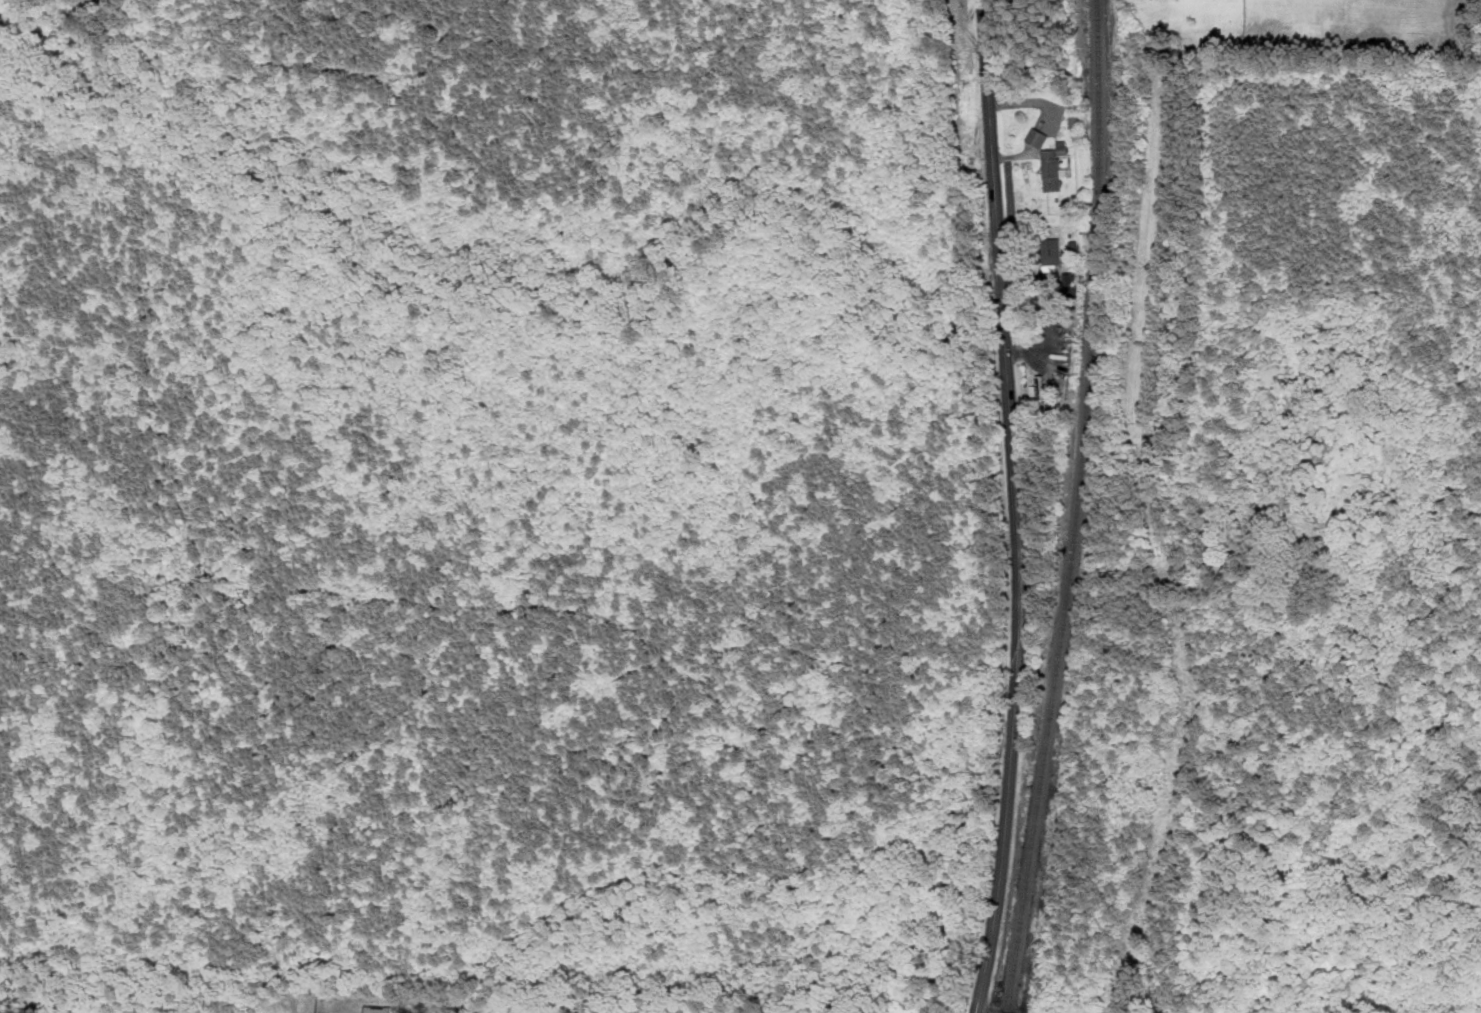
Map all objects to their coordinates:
building: (1039, 137)
building: (1055, 167)
building: (1053, 253)
building: (1070, 283)
road: (1053, 311)
road: (1017, 507)
railway: (1079, 508)
building: (379, 1009)
road: (980, 1012)

